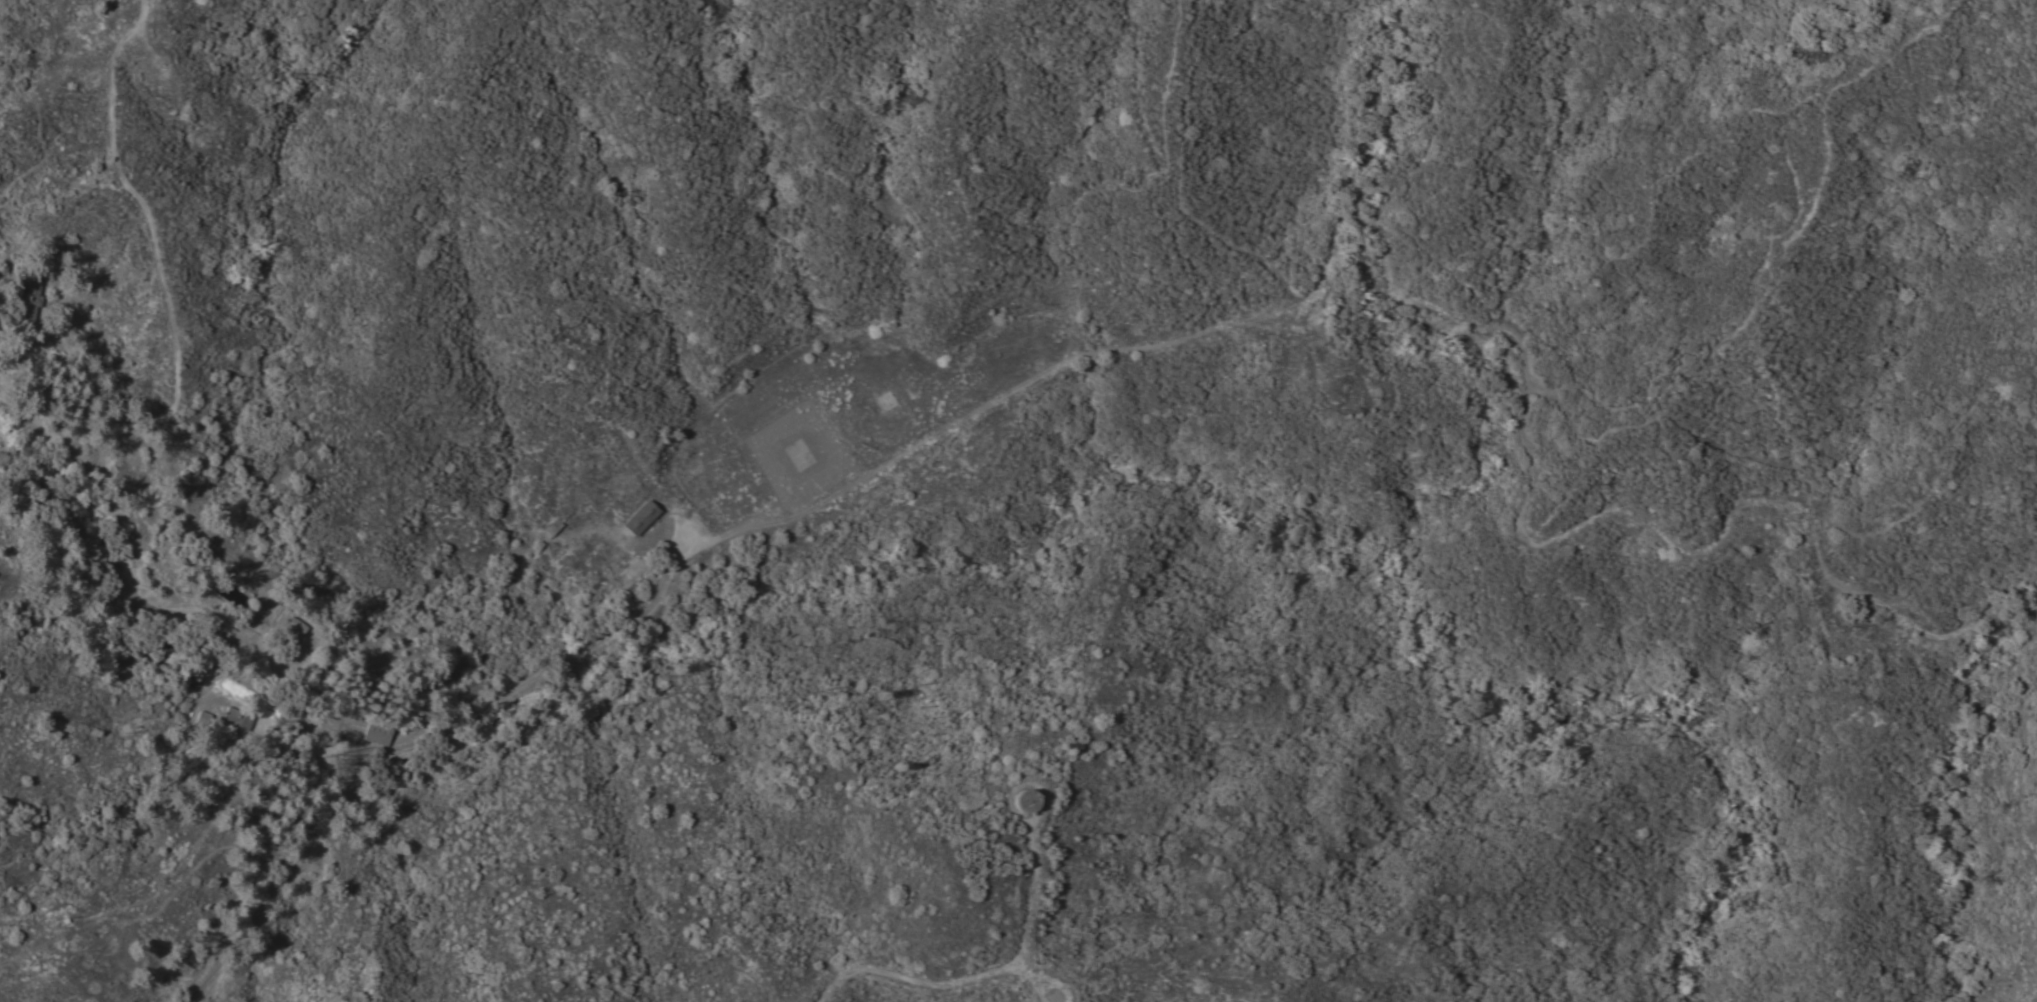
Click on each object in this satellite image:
road: (1171, 178)
road: (1428, 180)
road: (165, 291)
building: (27, 295)
road: (1426, 312)
building: (640, 516)
building: (111, 596)
road: (179, 608)
road: (233, 622)
building: (282, 626)
building: (142, 657)
building: (202, 717)
building: (237, 720)
building: (377, 729)
road: (417, 757)
building: (1023, 799)
road: (983, 979)
road: (2018, 987)

